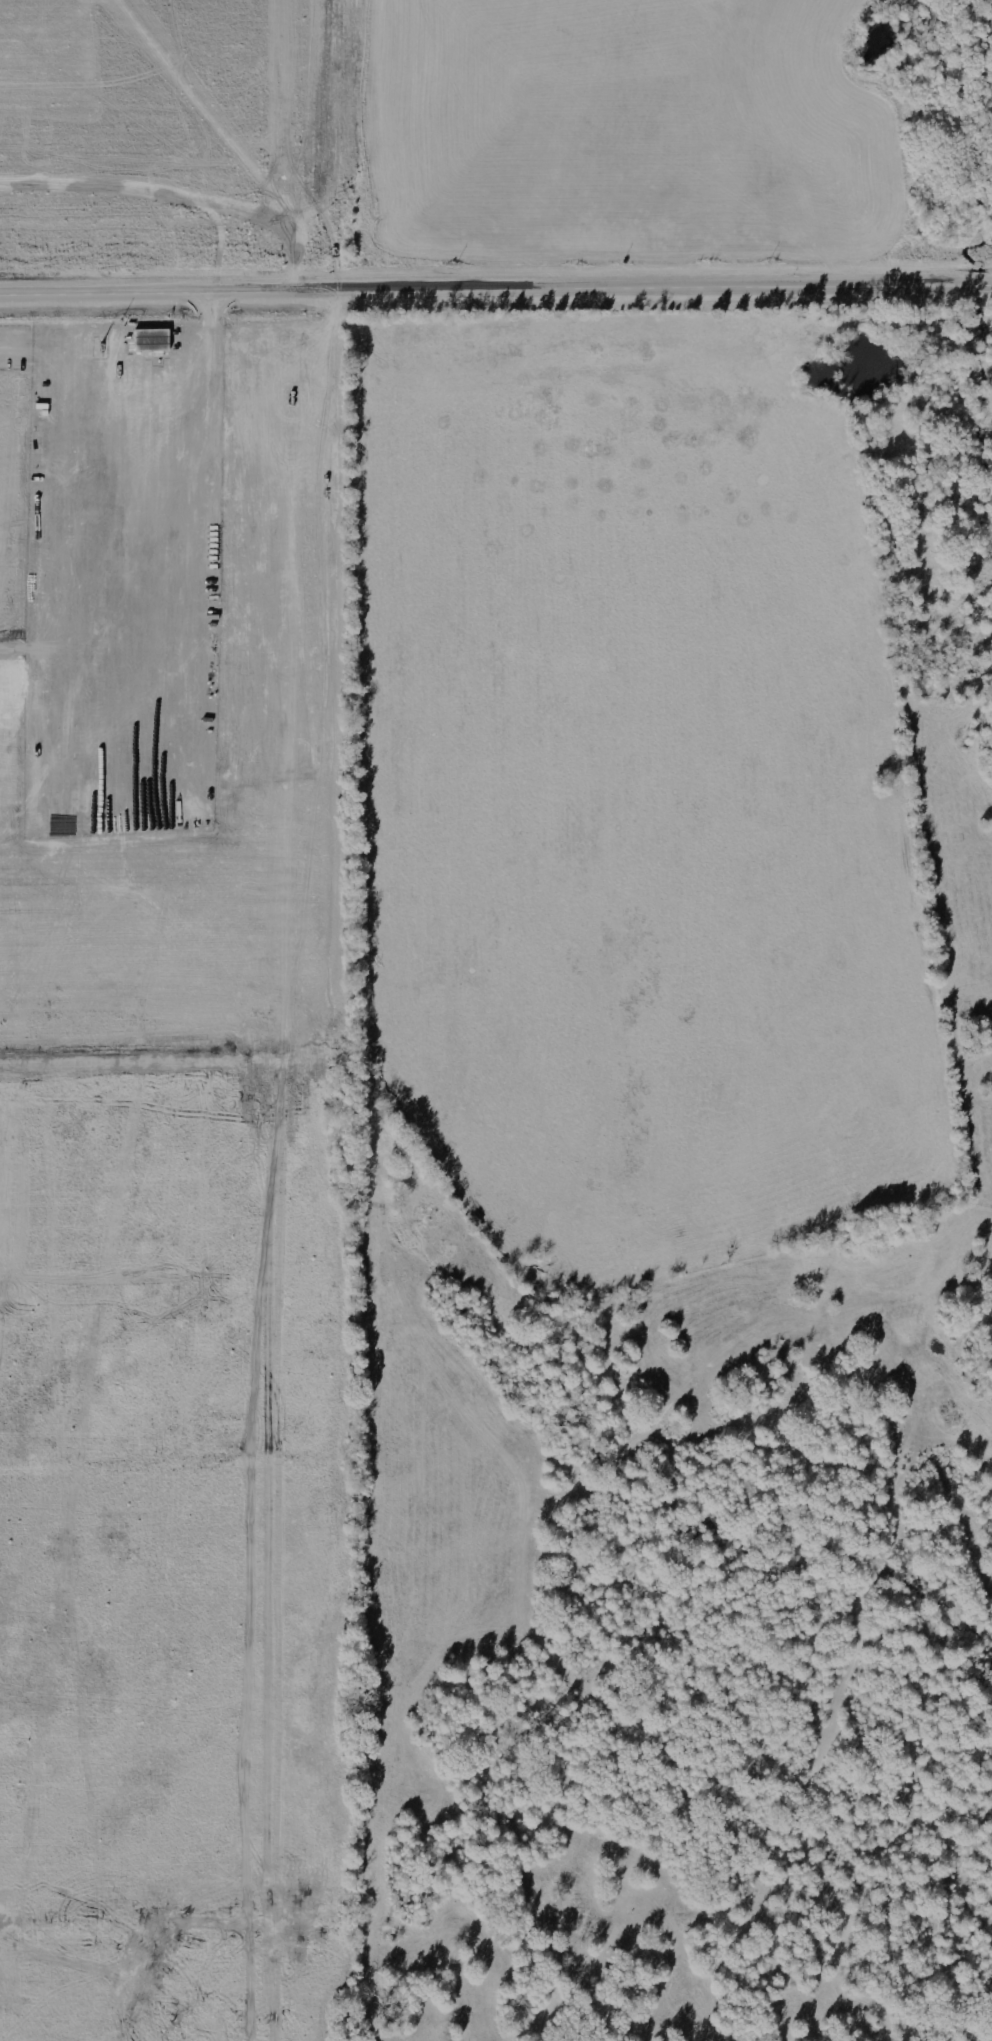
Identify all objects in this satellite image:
road: (496, 291)

